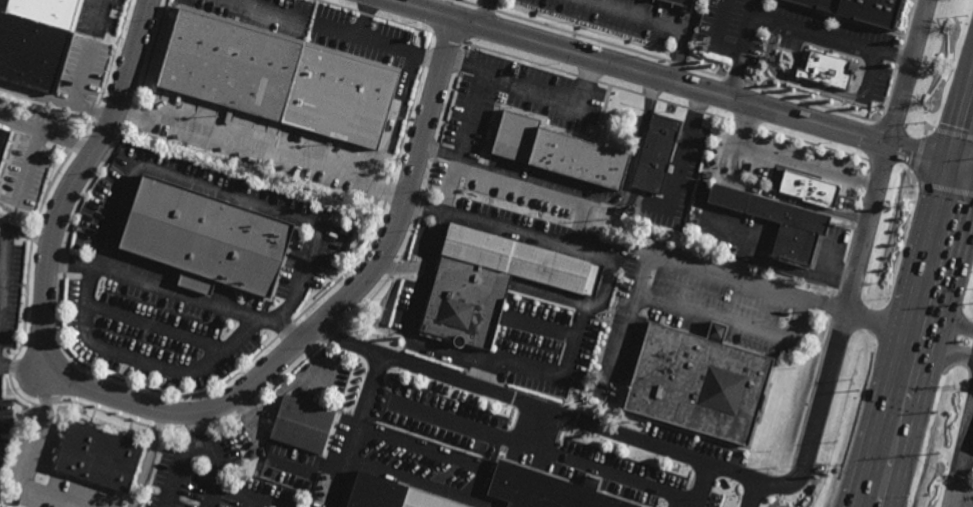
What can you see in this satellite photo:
road: (411, 3)
building: (677, 4)
building: (50, 9)
building: (857, 10)
road: (483, 13)
road: (633, 16)
road: (365, 18)
road: (747, 27)
road: (339, 30)
road: (715, 37)
road: (831, 38)
road: (685, 40)
building: (33, 50)
road: (89, 54)
building: (826, 70)
road: (908, 71)
road: (869, 75)
building: (280, 76)
road: (734, 76)
road: (792, 81)
road: (680, 83)
road: (554, 94)
road: (475, 96)
road: (55, 102)
road: (395, 124)
road: (47, 134)
building: (4, 140)
road: (639, 140)
building: (560, 150)
building: (657, 151)
road: (260, 156)
road: (117, 159)
road: (971, 161)
road: (785, 163)
road: (971, 166)
traffic signals: (970, 167)
road: (971, 167)
road: (29, 171)
building: (808, 189)
road: (787, 199)
road: (608, 201)
road: (424, 209)
building: (804, 228)
road: (866, 229)
building: (206, 238)
road: (531, 238)
road: (5, 239)
road: (72, 263)
road: (684, 272)
road: (307, 273)
building: (492, 281)
road: (550, 296)
road: (199, 300)
road: (732, 324)
road: (950, 325)
road: (883, 326)
road: (159, 327)
road: (540, 330)
road: (922, 336)
road: (946, 353)
road: (26, 366)
road: (484, 376)
building: (700, 383)
road: (278, 397)
road: (173, 413)
building: (302, 425)
road: (537, 428)
road: (360, 431)
road: (638, 440)
road: (534, 449)
road: (961, 453)
building: (100, 456)
road: (967, 456)
road: (33, 457)
power tower: (936, 457)
road: (148, 459)
road: (217, 461)
road: (196, 479)
road: (486, 484)
road: (702, 485)
road: (174, 490)
building: (544, 490)
road: (753, 493)
road: (963, 494)
building: (389, 495)
road: (213, 497)
road: (251, 503)

